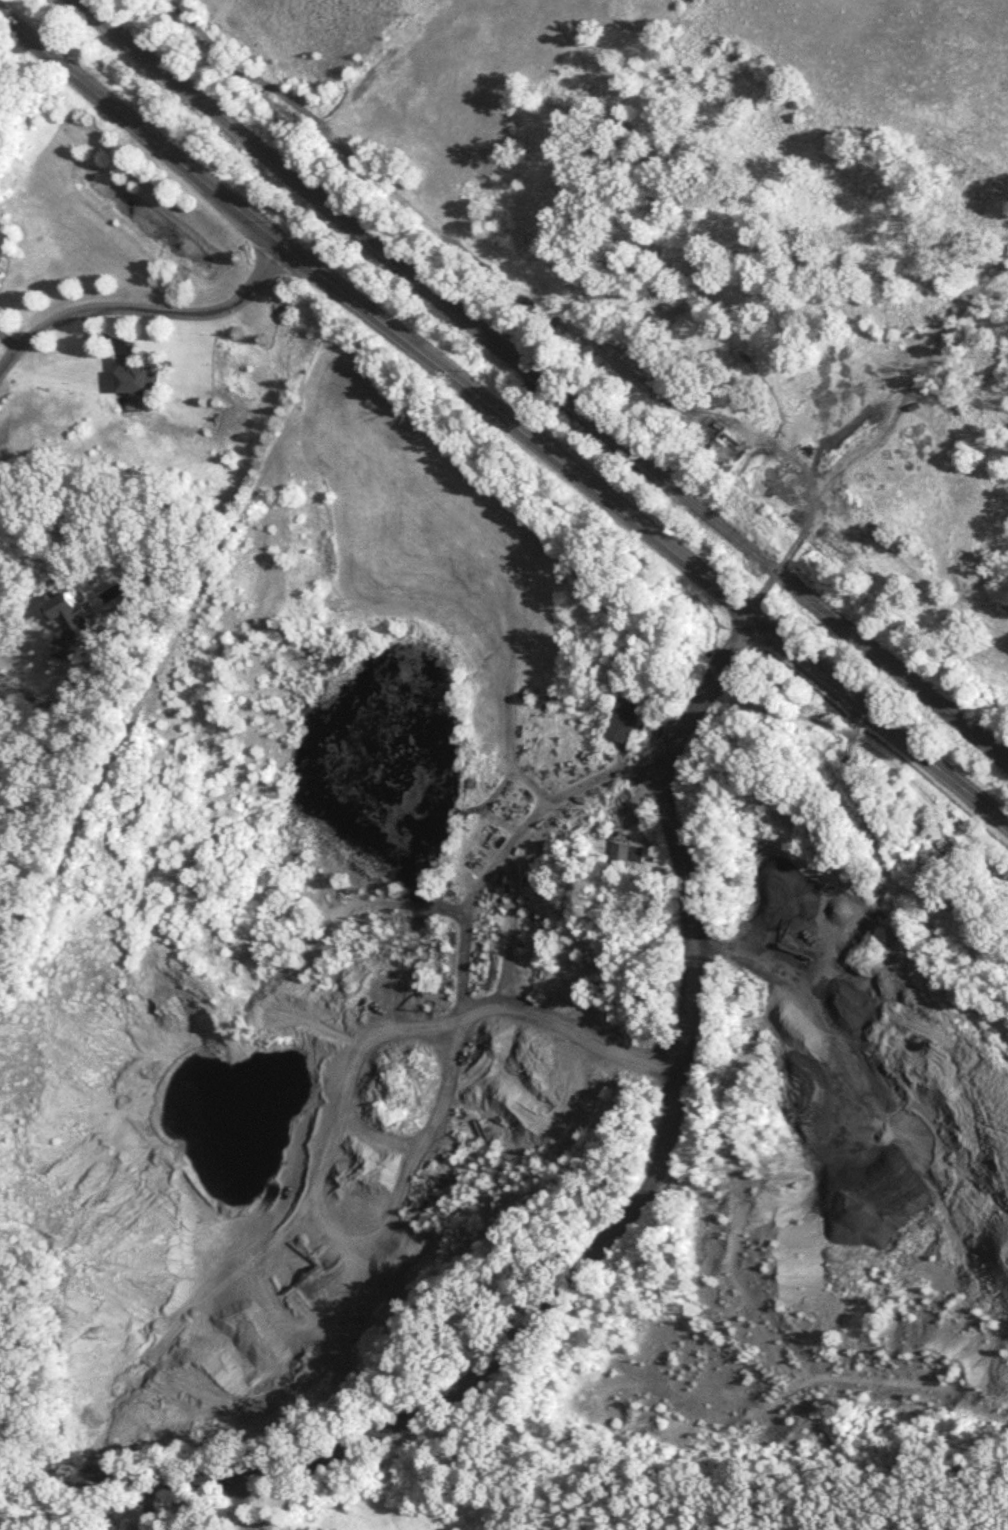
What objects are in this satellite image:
building: (5, 247)
road: (151, 309)
railway: (544, 377)
building: (132, 378)
road: (505, 417)
building: (724, 454)
road: (809, 510)
road: (12, 680)
building: (621, 722)
road: (602, 776)
road: (643, 791)
building: (626, 858)
road: (596, 1246)
building: (446, 1320)
road: (143, 1504)
road: (239, 1505)
park: (610, 1513)
parking lot: (267, 1528)

